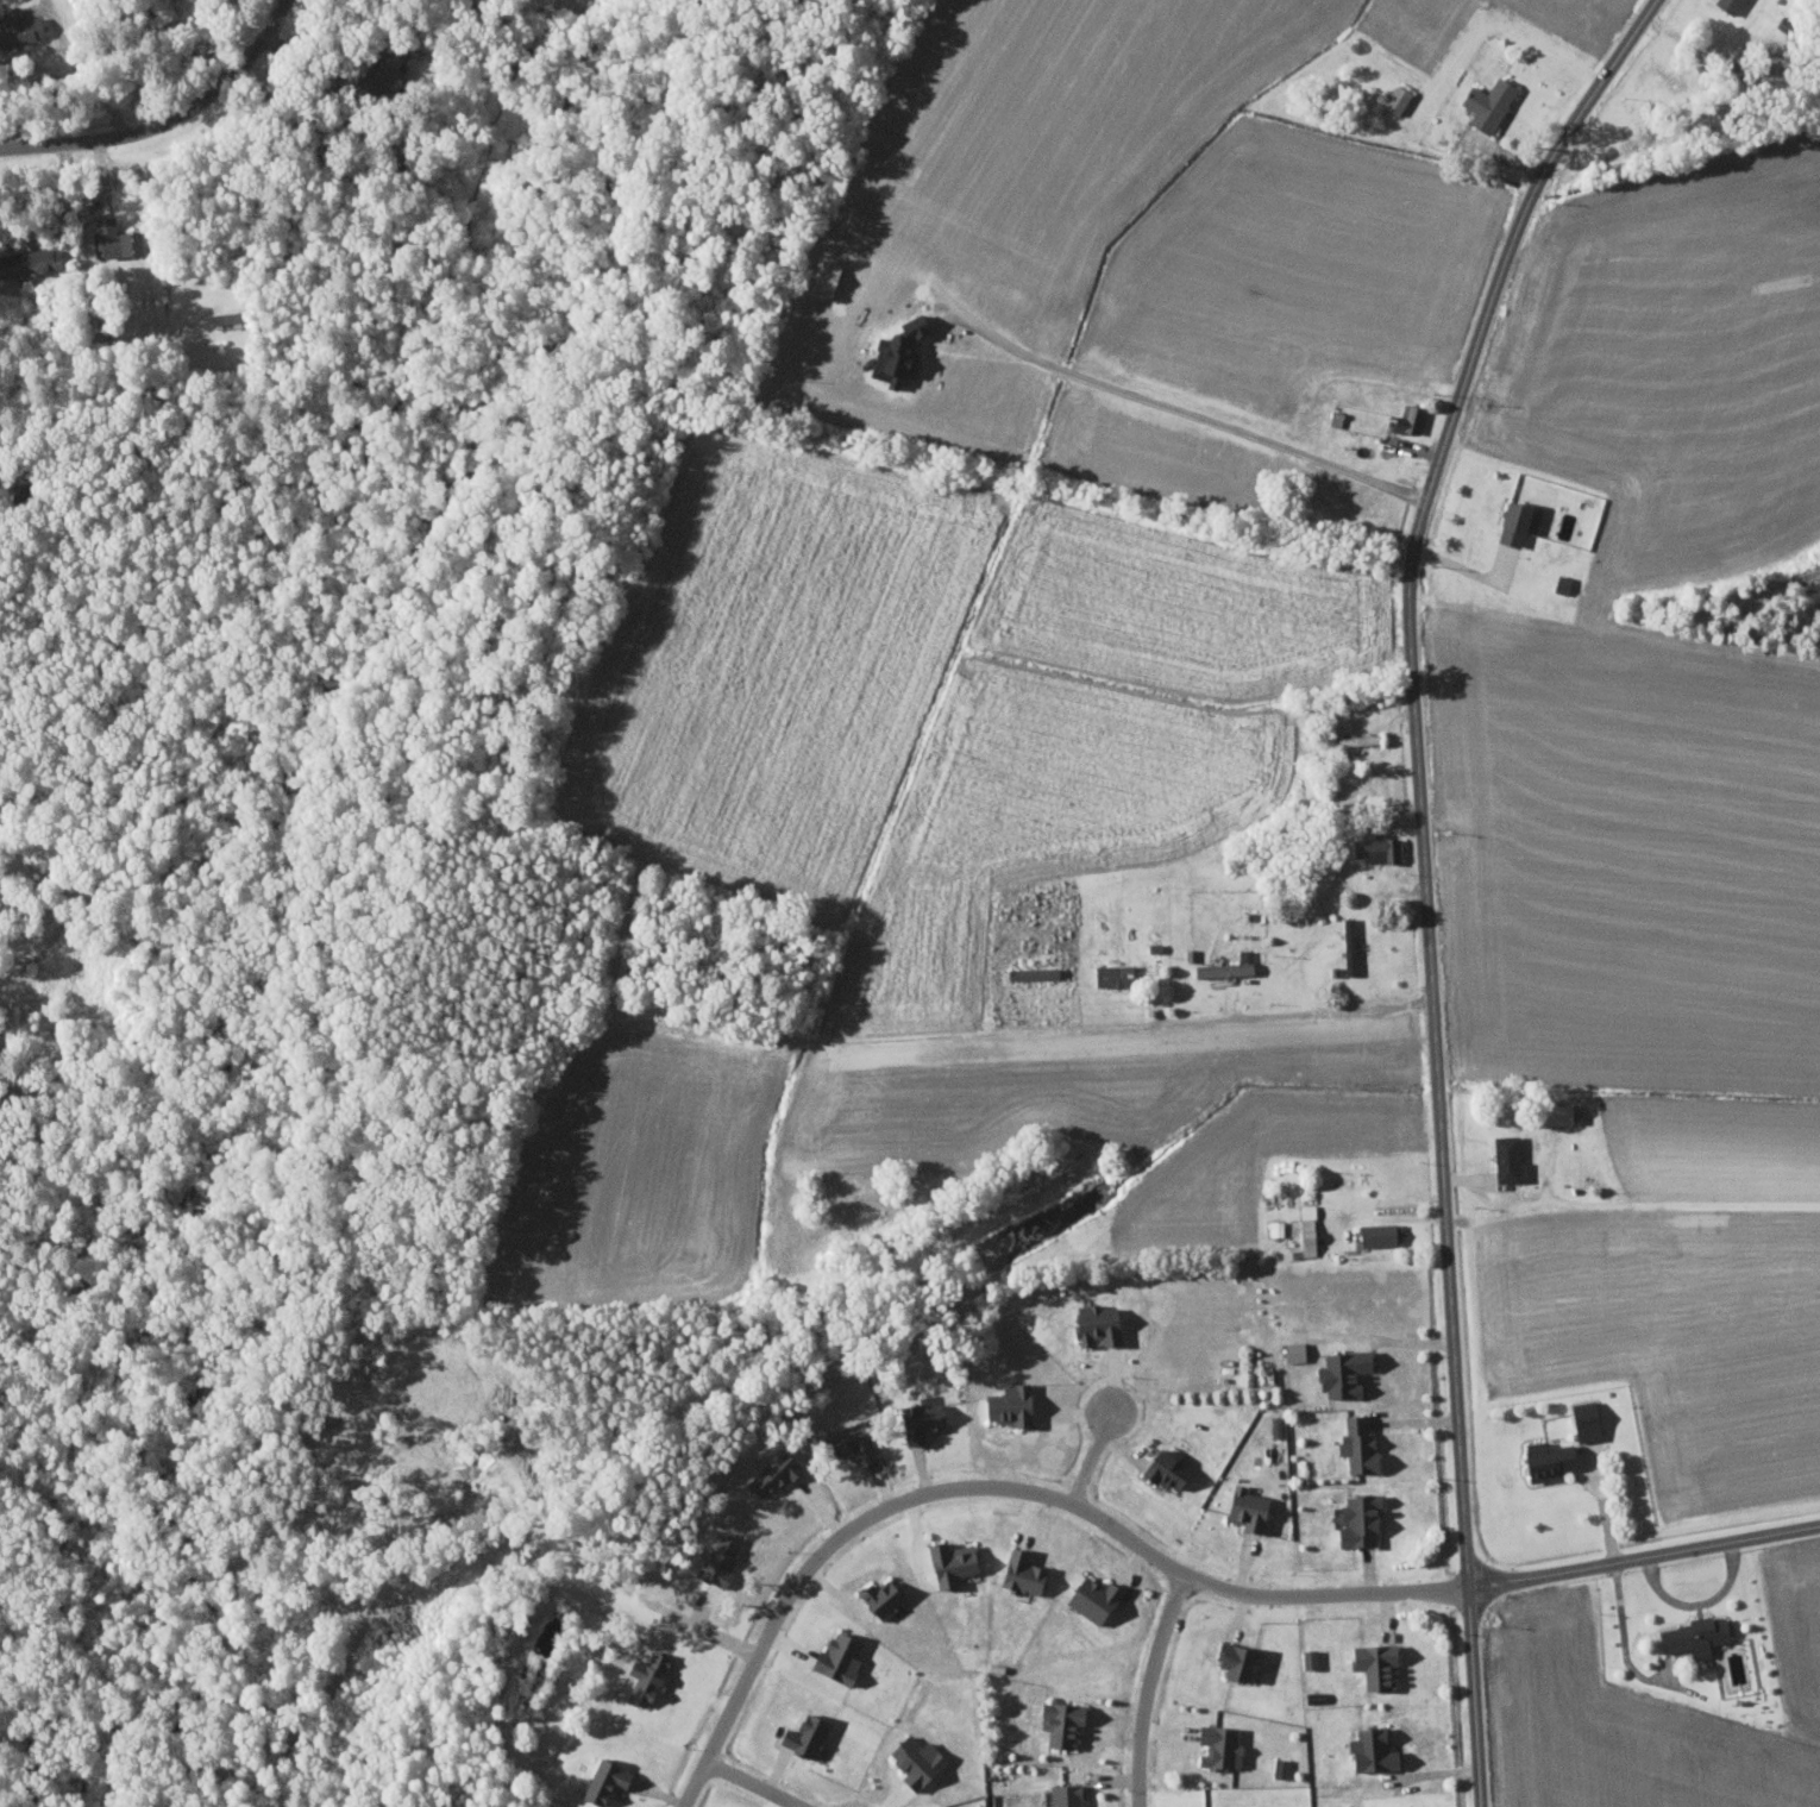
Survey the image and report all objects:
building: (1725, 5)
building: (17, 25)
building: (1394, 98)
building: (1485, 102)
road: (169, 119)
building: (114, 238)
building: (29, 261)
building: (224, 316)
building: (1404, 418)
building: (1513, 521)
building: (1376, 848)
road: (1423, 876)
building: (1347, 946)
building: (1219, 968)
building: (1029, 972)
building: (1110, 974)
road: (1142, 1024)
building: (1552, 1113)
building: (1505, 1160)
road: (1630, 1201)
building: (1275, 1228)
building: (1303, 1230)
building: (1376, 1234)
building: (1093, 1324)
building: (1291, 1351)
building: (1341, 1373)
building: (1005, 1405)
building: (918, 1420)
building: (1582, 1420)
building: (1274, 1428)
building: (845, 1441)
building: (1355, 1445)
road: (1094, 1455)
building: (1543, 1460)
building: (1161, 1469)
building: (767, 1475)
building: (1243, 1508)
road: (866, 1513)
building: (1354, 1520)
building: (715, 1560)
road: (1645, 1560)
building: (1019, 1574)
road: (1329, 1592)
building: (877, 1598)
building: (1088, 1598)
building: (1692, 1636)
building: (833, 1658)
building: (1306, 1658)
building: (1228, 1659)
building: (1372, 1664)
road: (1143, 1689)
building: (1058, 1724)
building: (799, 1736)
building: (1216, 1748)
building: (1367, 1751)
building: (911, 1761)
building: (1278, 1768)
building: (601, 1781)
road: (748, 1782)
building: (1062, 1795)

